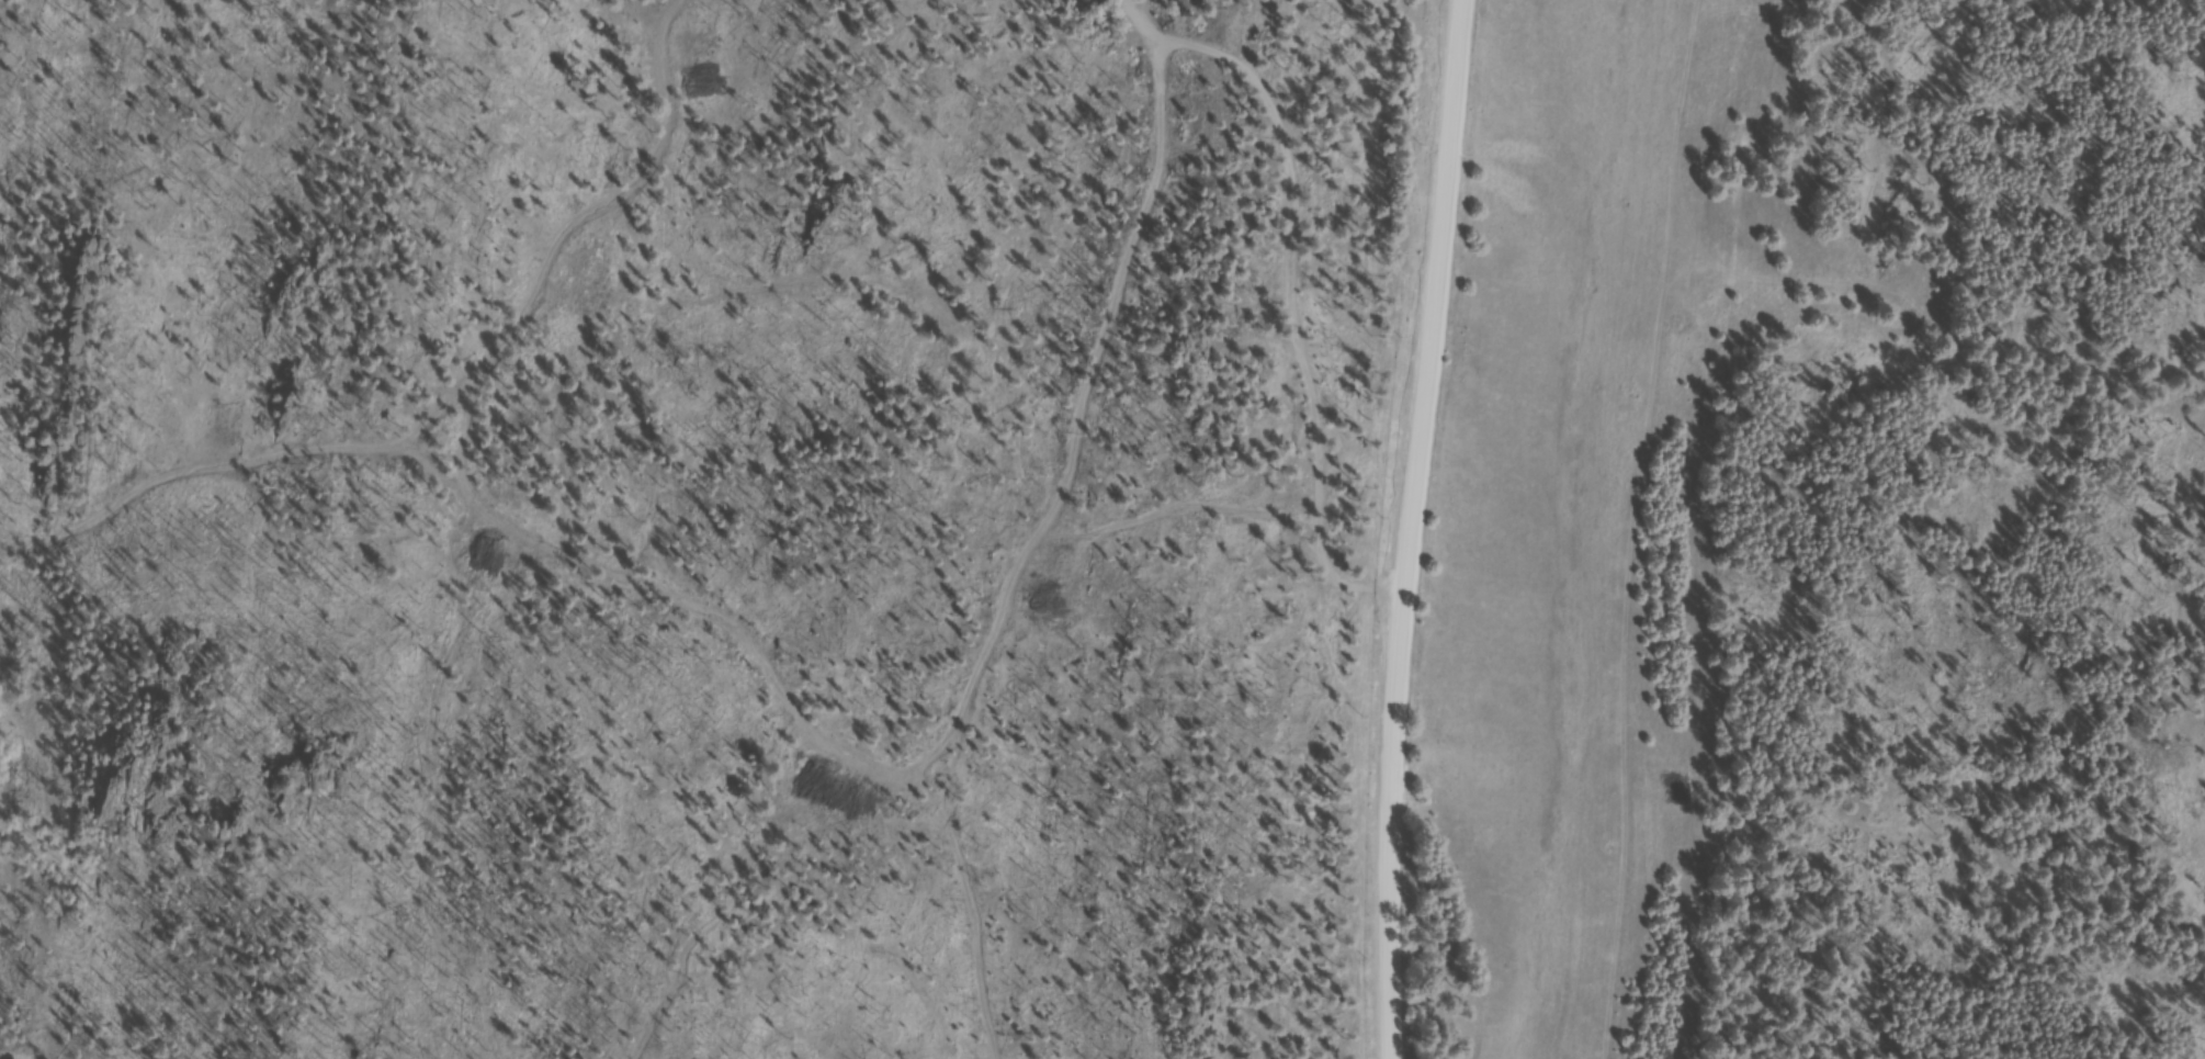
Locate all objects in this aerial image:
road: (1300, 278)
road: (1183, 503)
road: (1404, 528)
road: (597, 559)
road: (949, 904)

